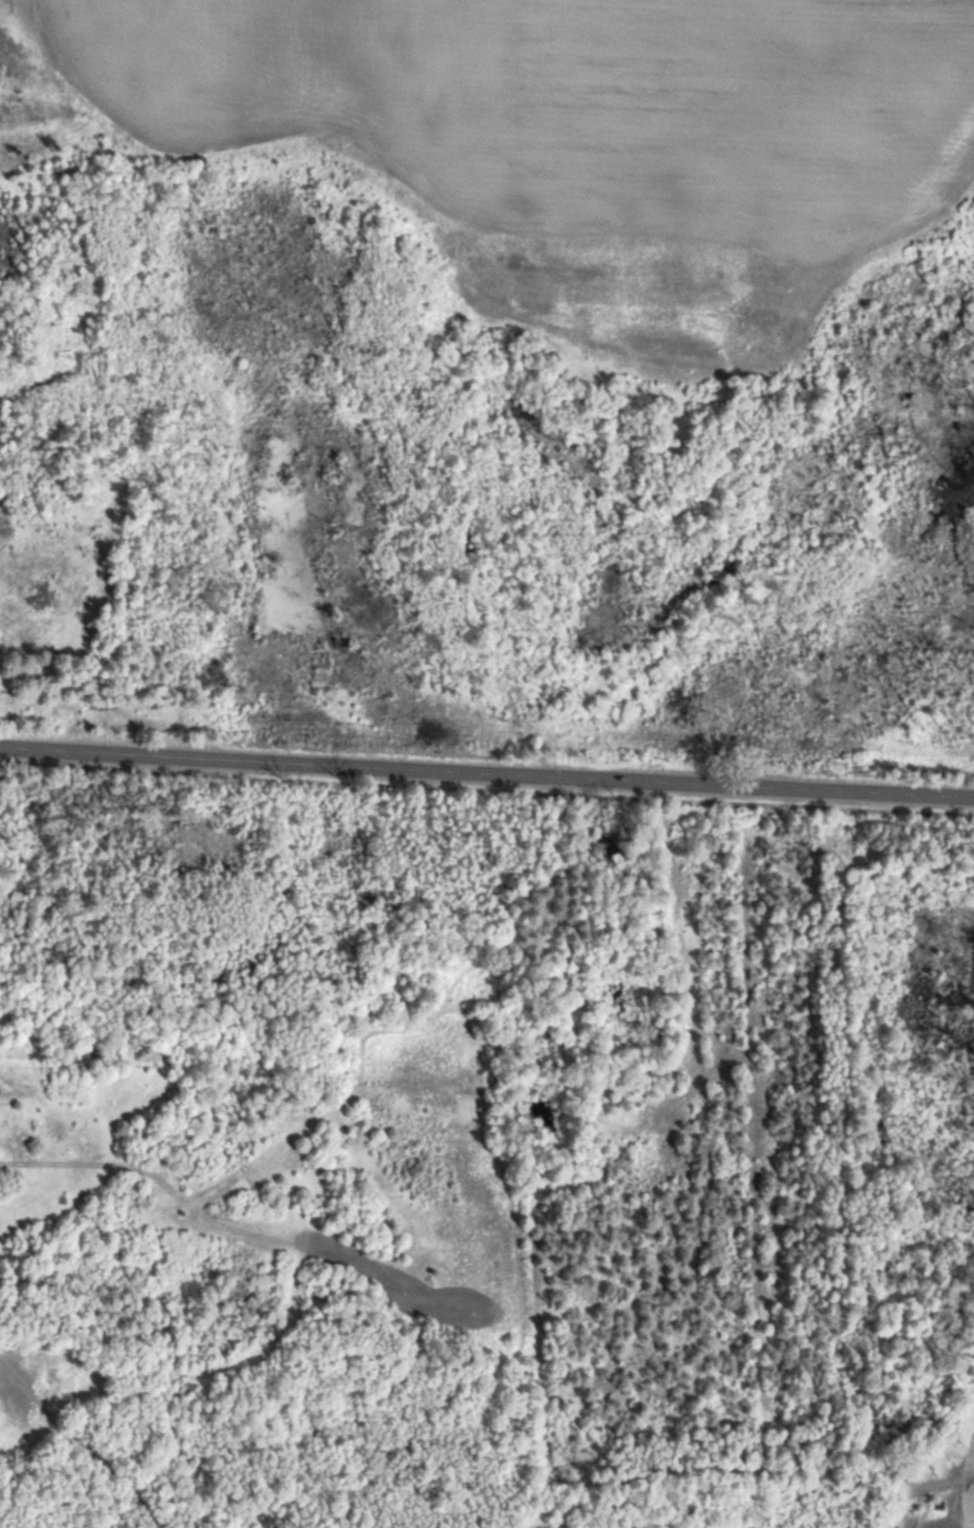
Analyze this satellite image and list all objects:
road: (487, 770)
building: (932, 1509)

